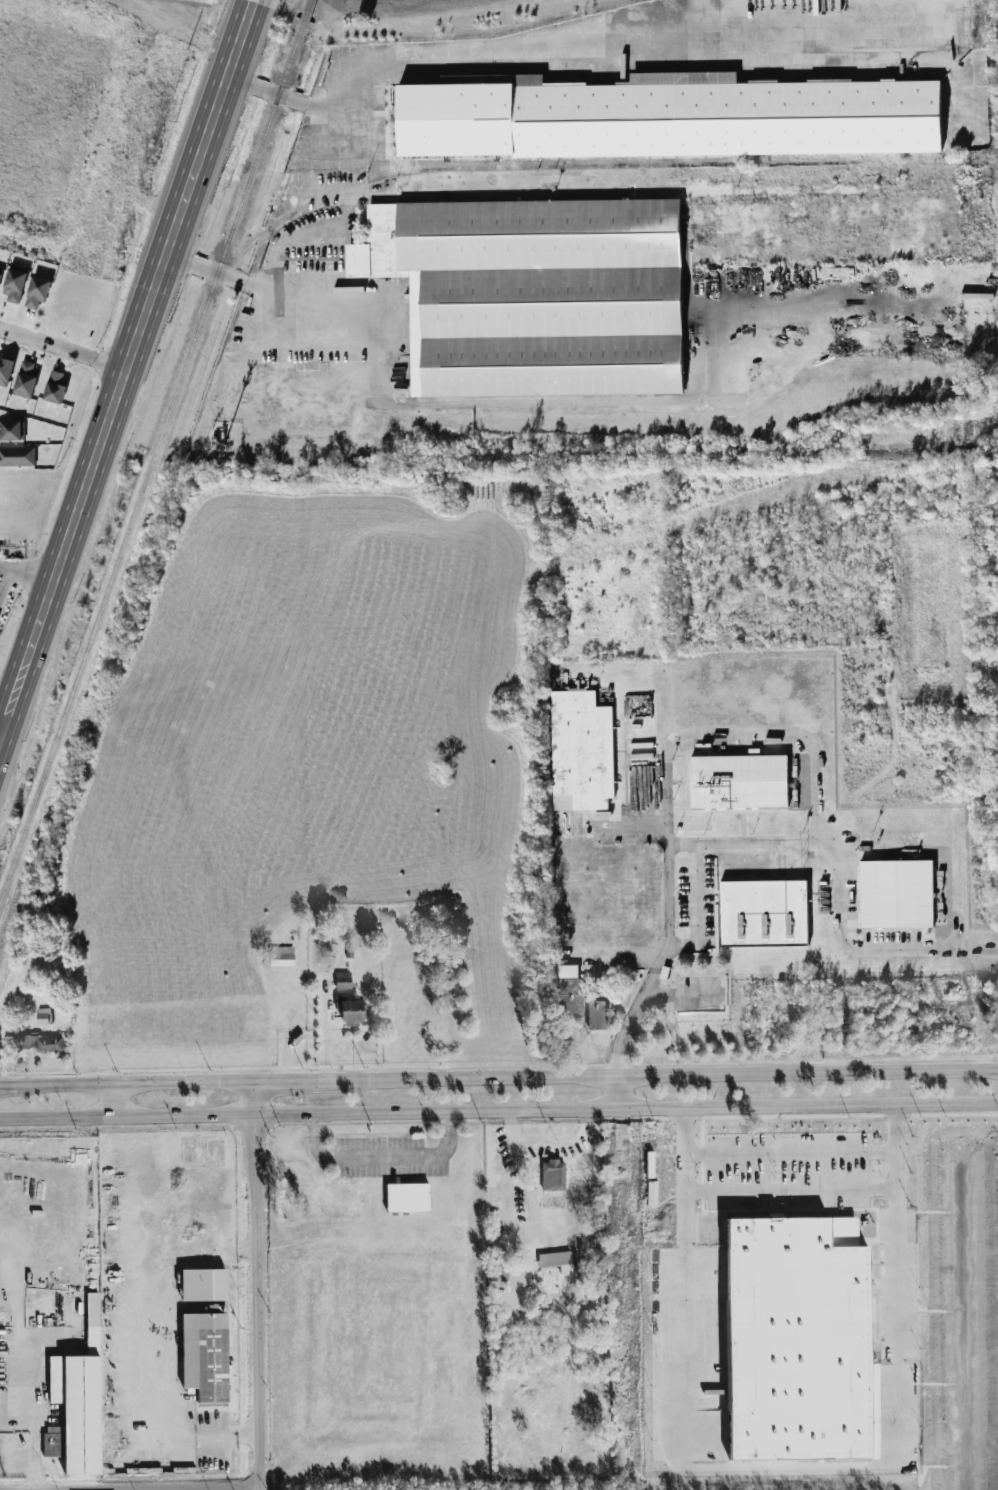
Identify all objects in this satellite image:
road: (251, 1)
railway: (305, 8)
road: (397, 61)
road: (273, 94)
road: (370, 113)
building: (669, 117)
road: (284, 240)
building: (0, 270)
building: (14, 285)
road: (325, 289)
building: (36, 292)
building: (534, 294)
road: (282, 347)
road: (62, 352)
road: (125, 368)
building: (5, 370)
building: (25, 379)
building: (55, 387)
building: (10, 431)
building: (17, 456)
railway: (152, 457)
road: (26, 574)
road: (3, 582)
road: (769, 732)
building: (581, 751)
building: (738, 782)
road: (633, 790)
road: (632, 826)
road: (751, 843)
building: (897, 894)
road: (696, 910)
building: (763, 914)
road: (958, 930)
road: (667, 937)
road: (867, 950)
building: (280, 957)
road: (623, 963)
building: (342, 981)
building: (569, 990)
building: (349, 1012)
building: (596, 1014)
building: (41, 1016)
building: (42, 1043)
road: (659, 1077)
road: (287, 1082)
road: (126, 1085)
road: (617, 1093)
road: (113, 1102)
road: (498, 1111)
road: (790, 1152)
road: (383, 1157)
building: (553, 1176)
road: (791, 1189)
building: (407, 1198)
building: (555, 1260)
building: (202, 1285)
road: (260, 1286)
building: (204, 1358)
building: (76, 1403)
road: (789, 1466)

